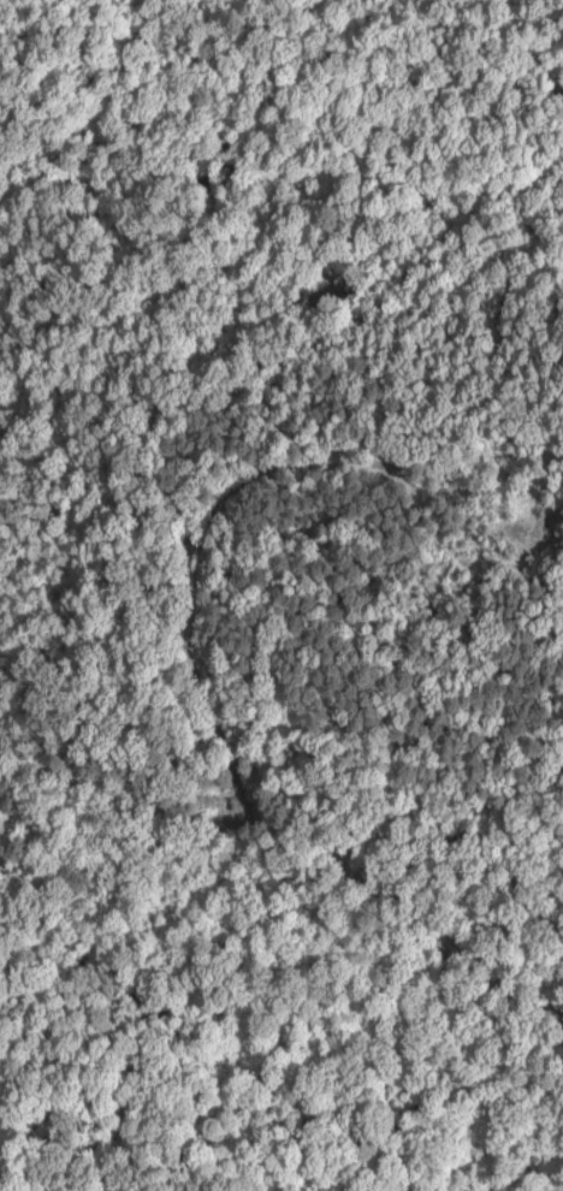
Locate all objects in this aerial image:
road: (211, 543)
road: (36, 781)

